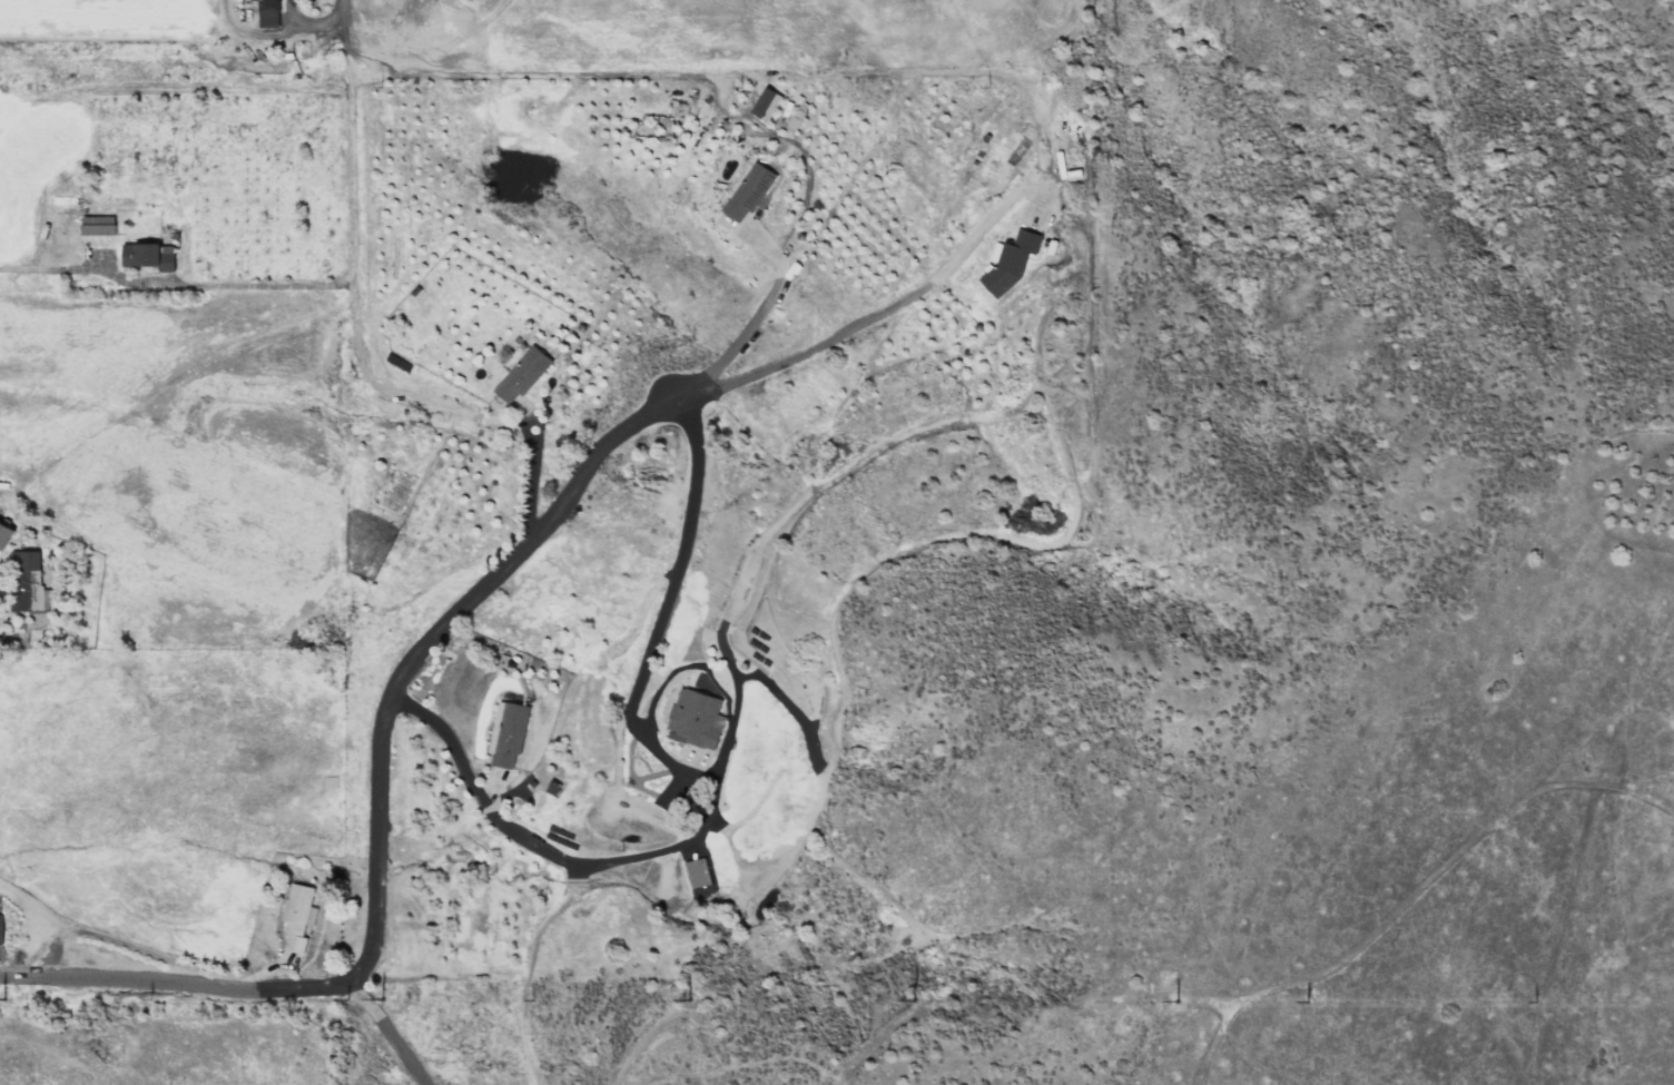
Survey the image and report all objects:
building: (267, 13)
road: (289, 17)
road: (277, 31)
road: (533, 83)
road: (111, 88)
building: (765, 103)
road: (347, 140)
building: (747, 191)
building: (69, 199)
building: (97, 225)
building: (148, 255)
building: (1008, 260)
road: (174, 286)
road: (739, 317)
road: (858, 325)
road: (365, 371)
building: (522, 373)
road: (528, 476)
building: (4, 533)
building: (27, 582)
road: (27, 642)
road: (420, 650)
road: (682, 667)
road: (733, 703)
road: (787, 706)
building: (695, 718)
building: (506, 733)
road: (711, 782)
building: (697, 871)
road: (1415, 897)
building: (296, 916)
building: (0, 927)
road: (179, 989)
road: (395, 1037)

